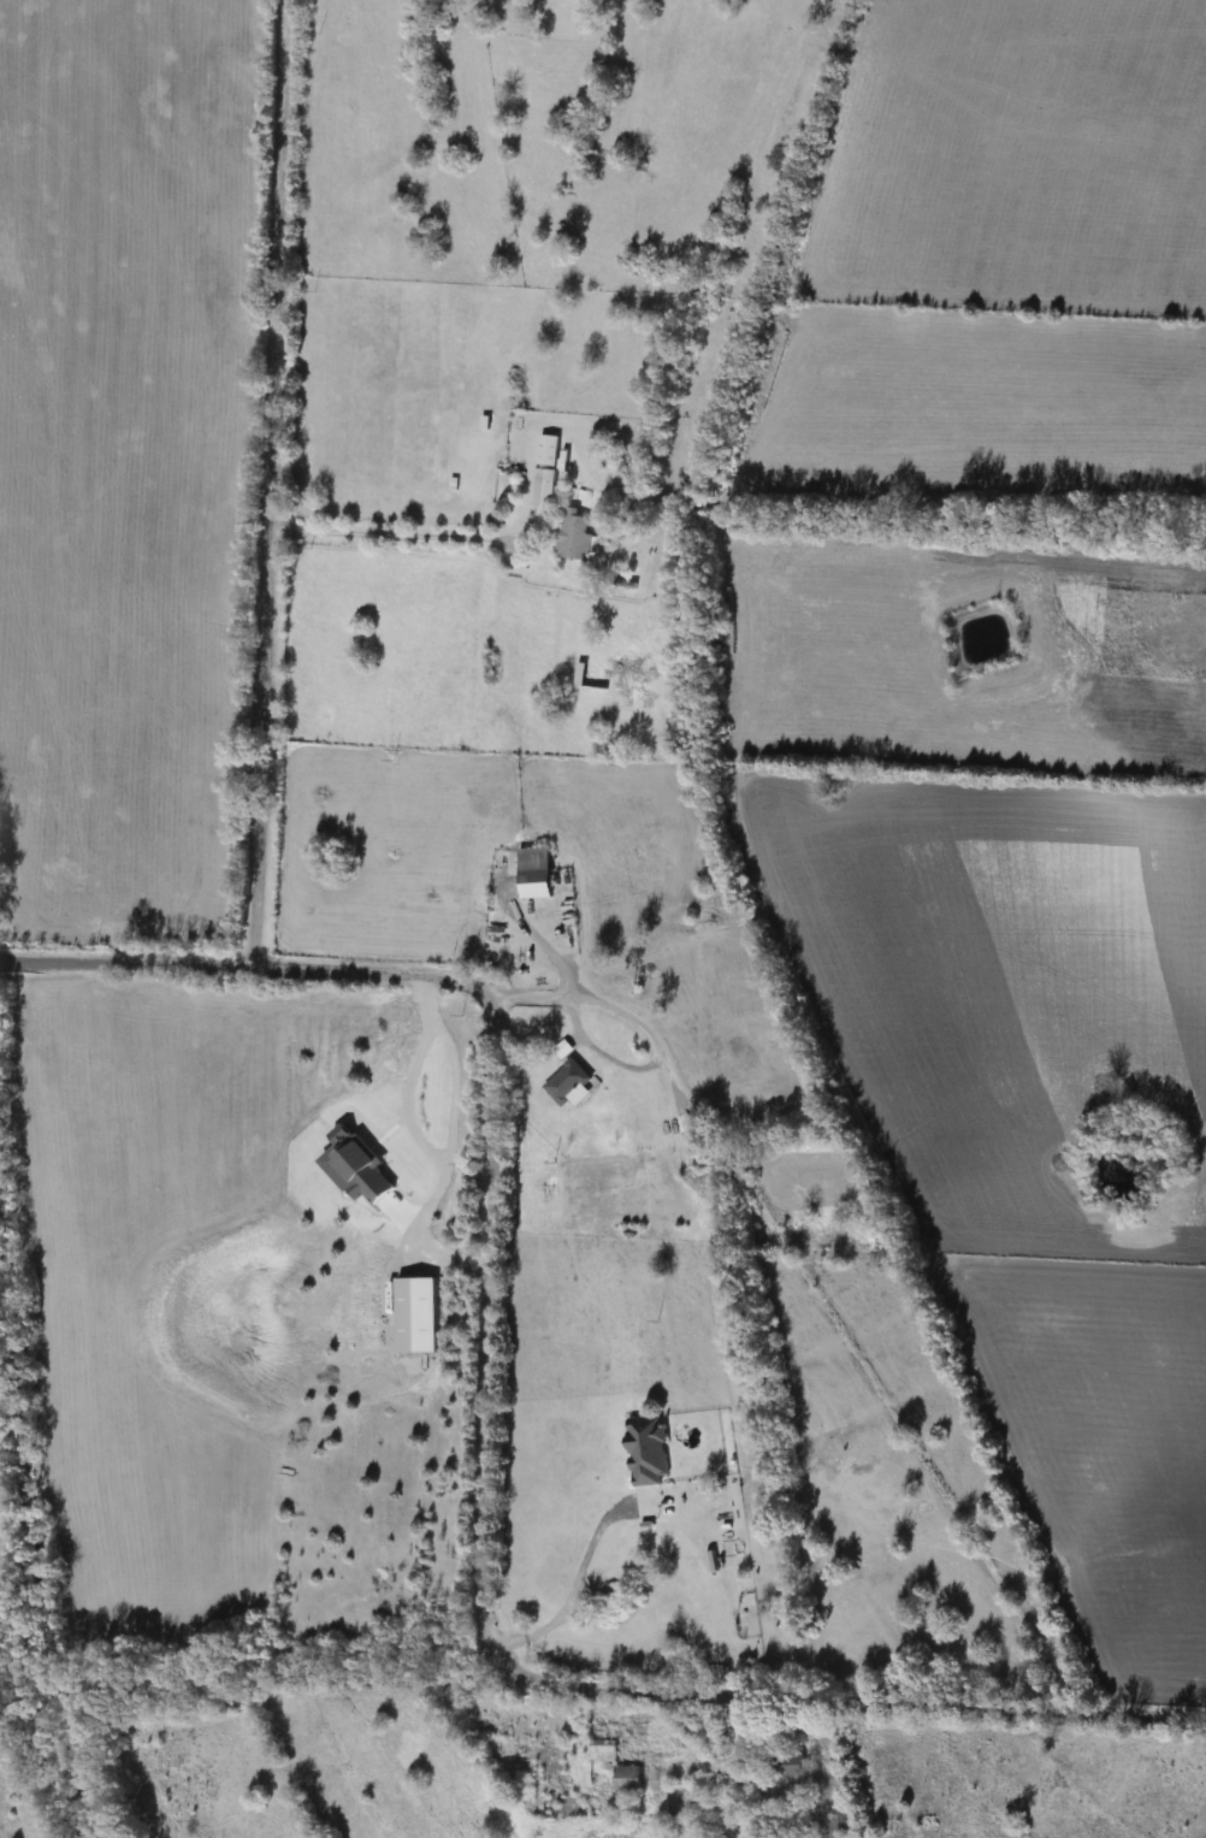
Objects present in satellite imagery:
road: (469, 5)
building: (542, 469)
road: (271, 484)
road: (394, 531)
building: (571, 533)
building: (530, 875)
road: (528, 938)
road: (608, 1005)
building: (560, 1050)
building: (563, 1082)
road: (454, 1086)
building: (755, 1121)
building: (682, 1124)
road: (427, 1145)
road: (481, 1438)
road: (577, 1578)
building: (599, 1750)
building: (785, 1765)
building: (623, 1778)
building: (826, 1827)

